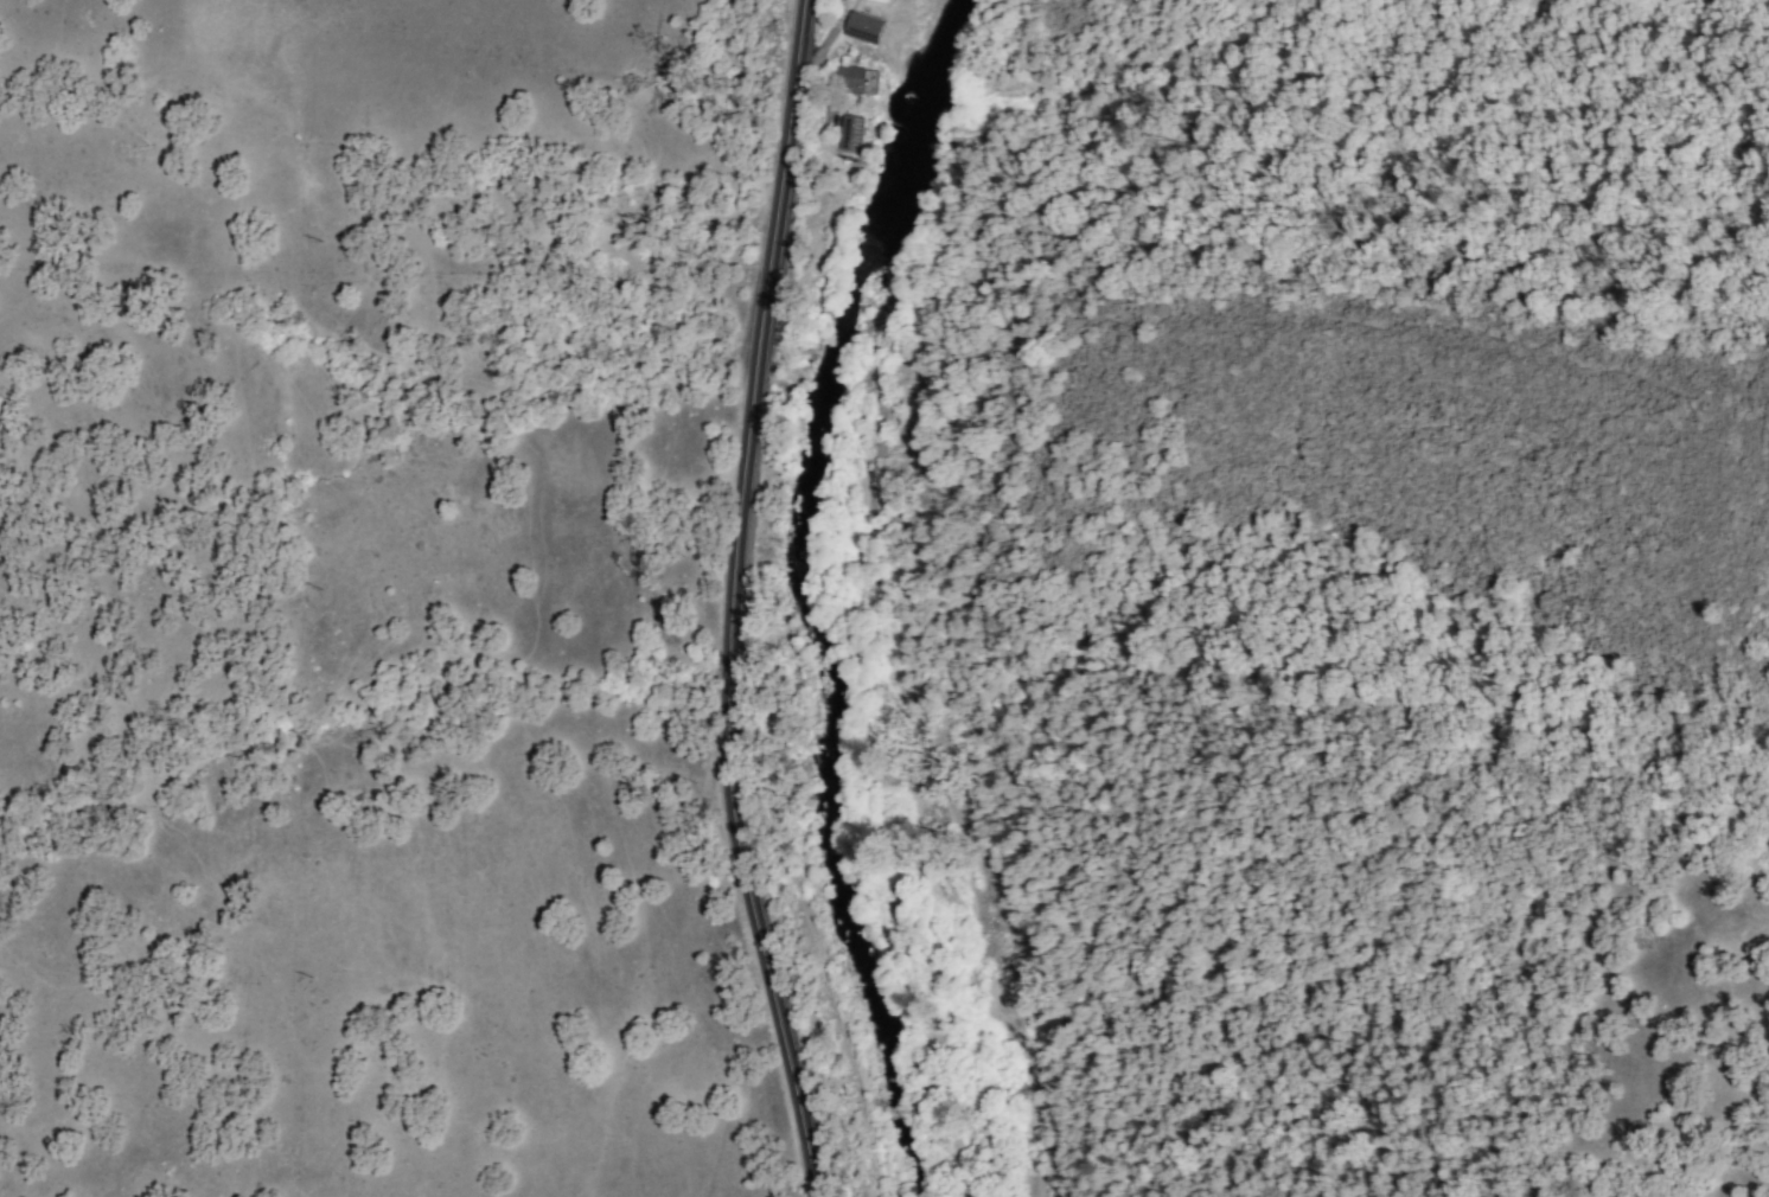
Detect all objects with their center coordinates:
building: (864, 27)
building: (850, 79)
building: (851, 133)
river: (813, 590)
road: (729, 601)

